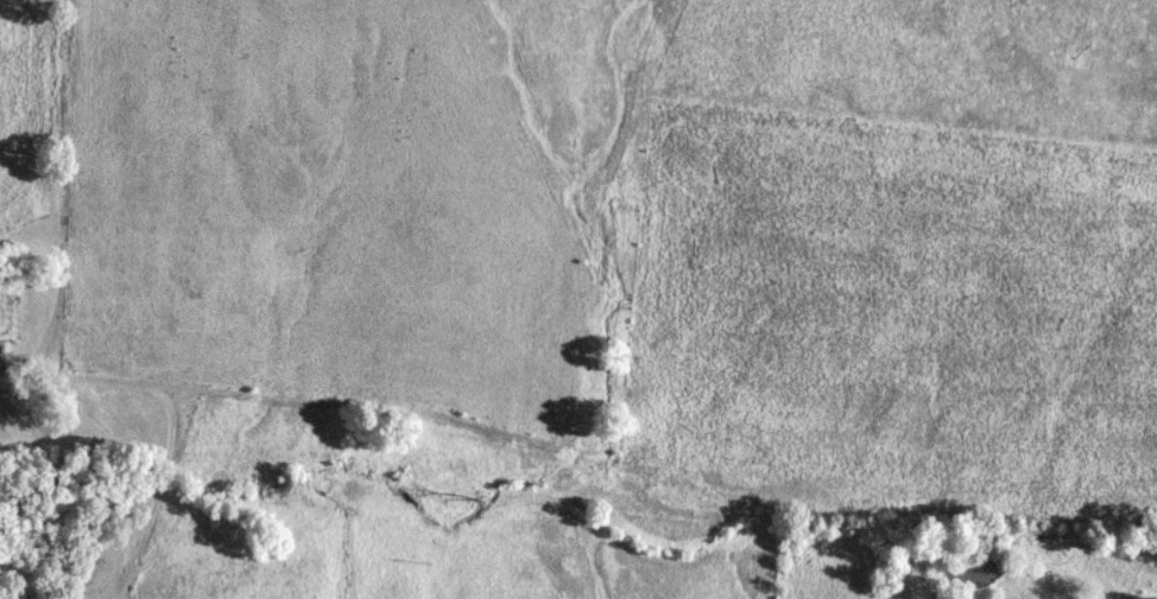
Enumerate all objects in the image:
building: (2, 362)
road: (158, 459)

